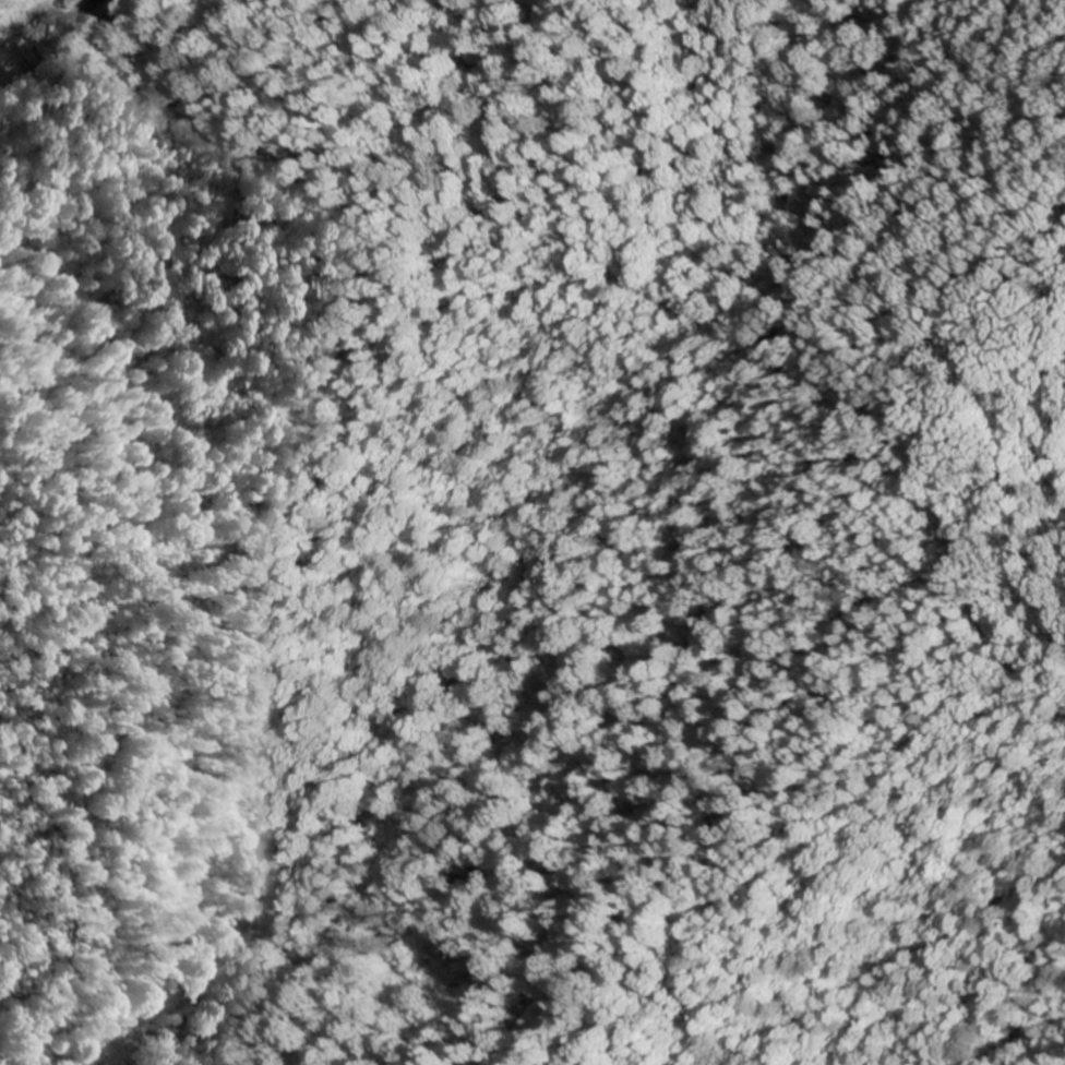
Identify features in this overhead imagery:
road: (24, 15)

